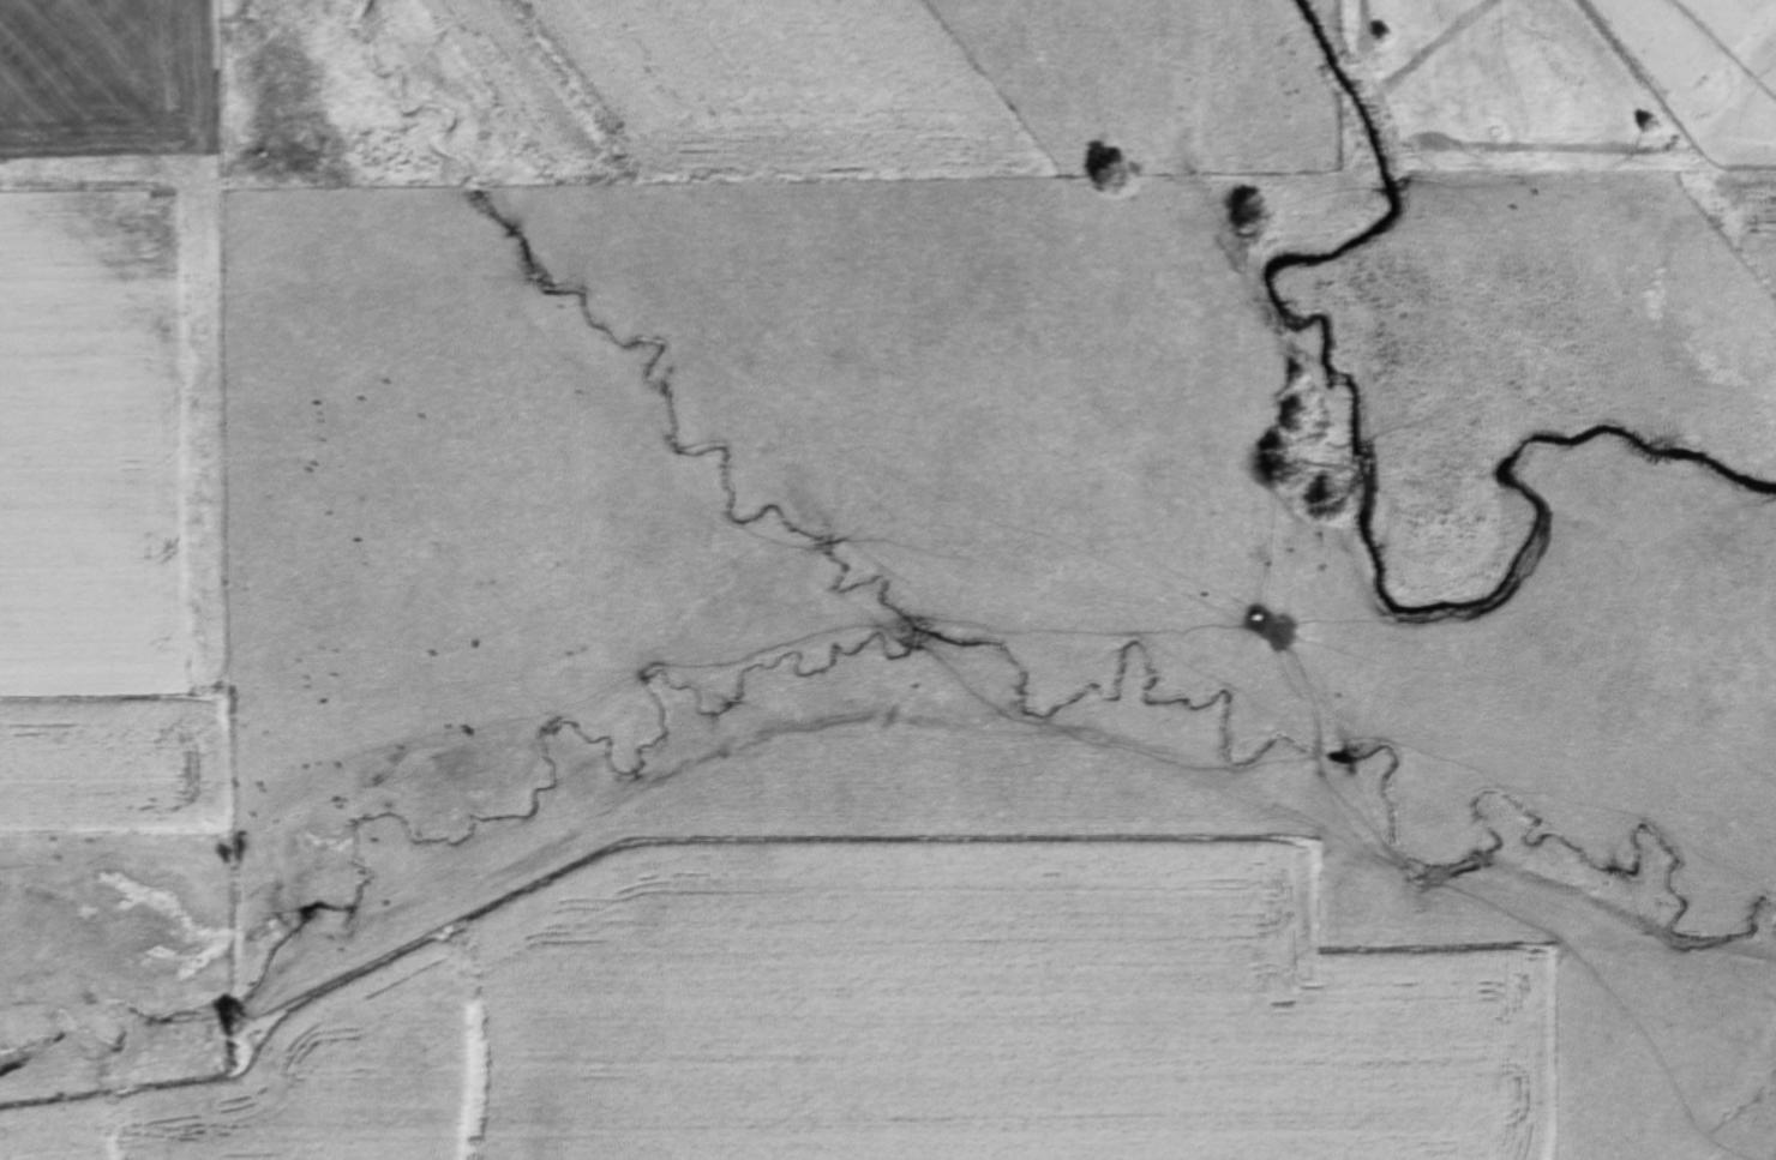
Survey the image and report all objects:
river: (1358, 506)

